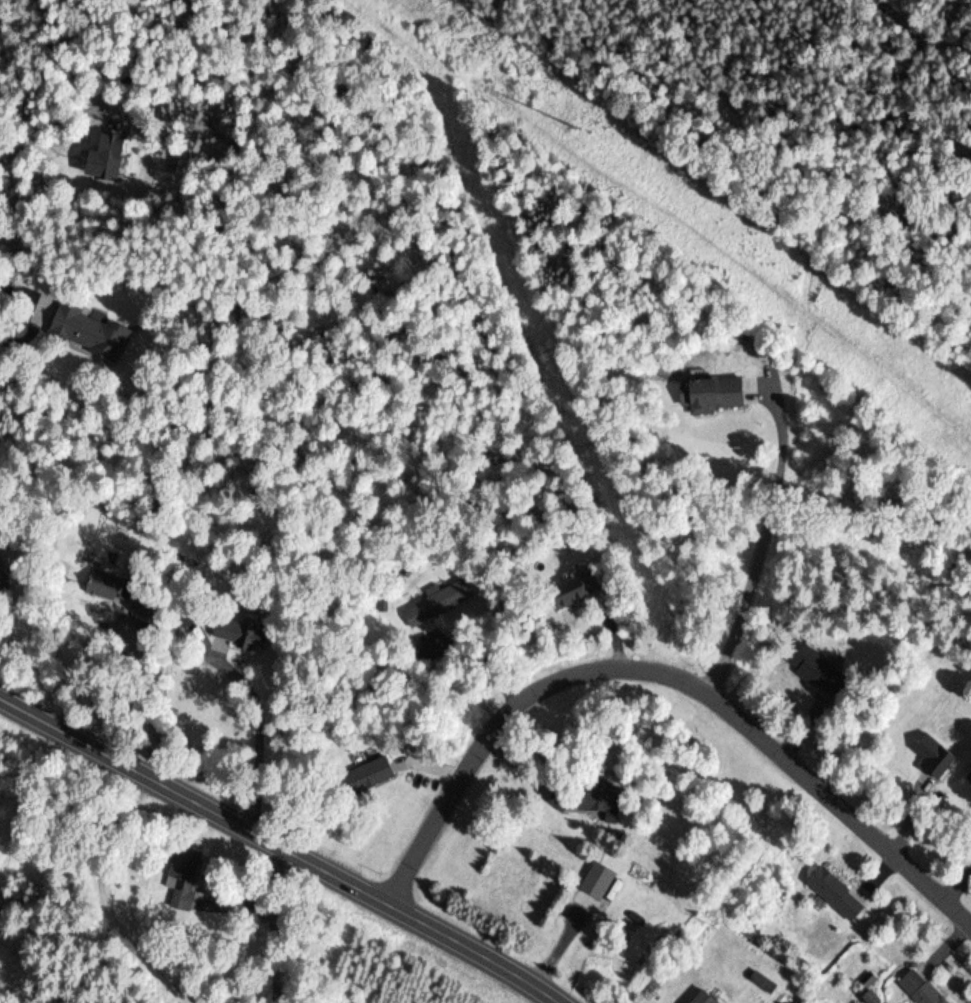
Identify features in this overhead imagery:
road: (943, 36)
power tower: (576, 124)
building: (106, 158)
road: (160, 307)
building: (89, 331)
road: (56, 348)
building: (713, 395)
road: (760, 540)
building: (106, 585)
building: (578, 591)
building: (240, 627)
building: (819, 673)
road: (662, 676)
building: (934, 756)
building: (365, 776)
building: (559, 801)
road: (276, 847)
building: (598, 881)
building: (837, 894)
building: (183, 899)
building: (920, 989)
building: (706, 998)

